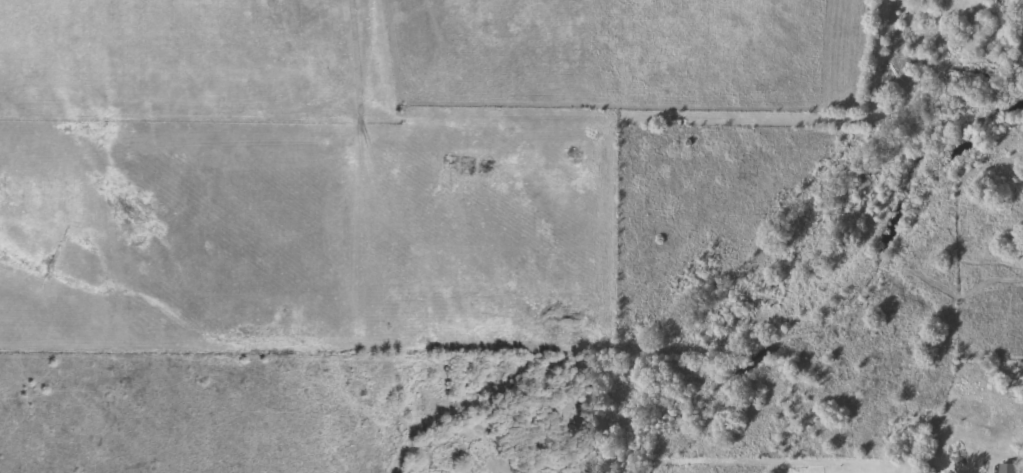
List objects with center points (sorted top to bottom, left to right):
building: (1008, 466)

